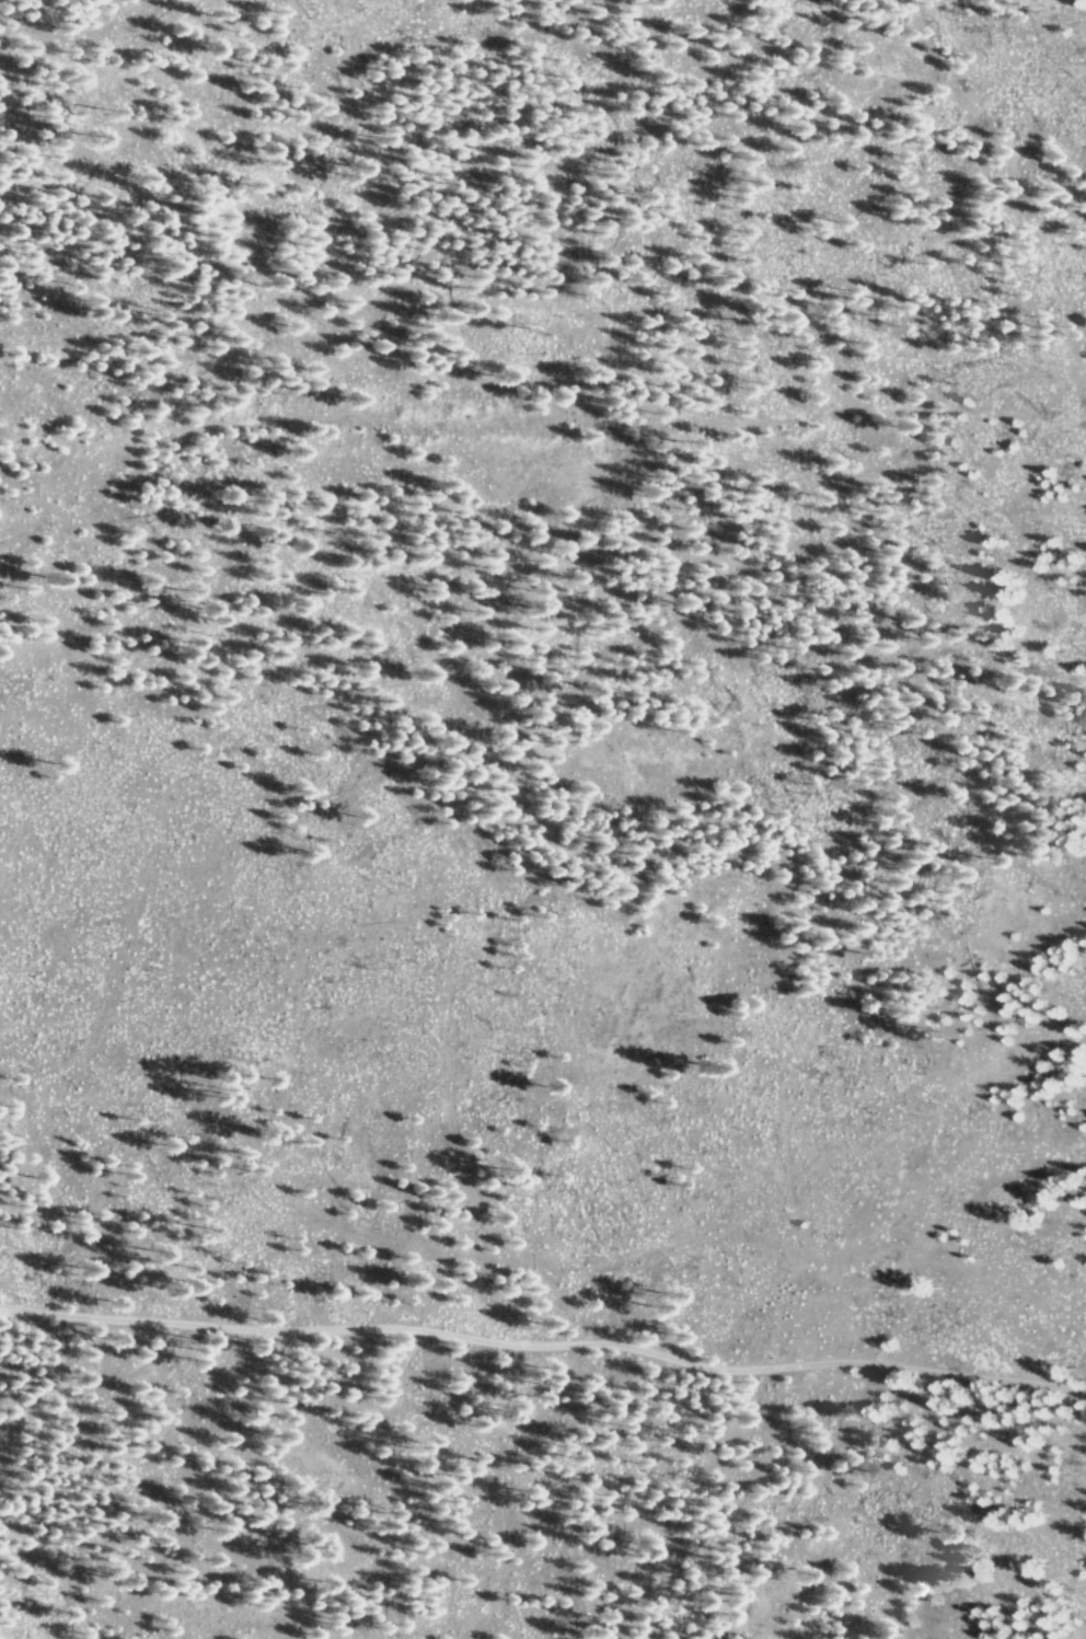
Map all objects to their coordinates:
road: (543, 1352)

